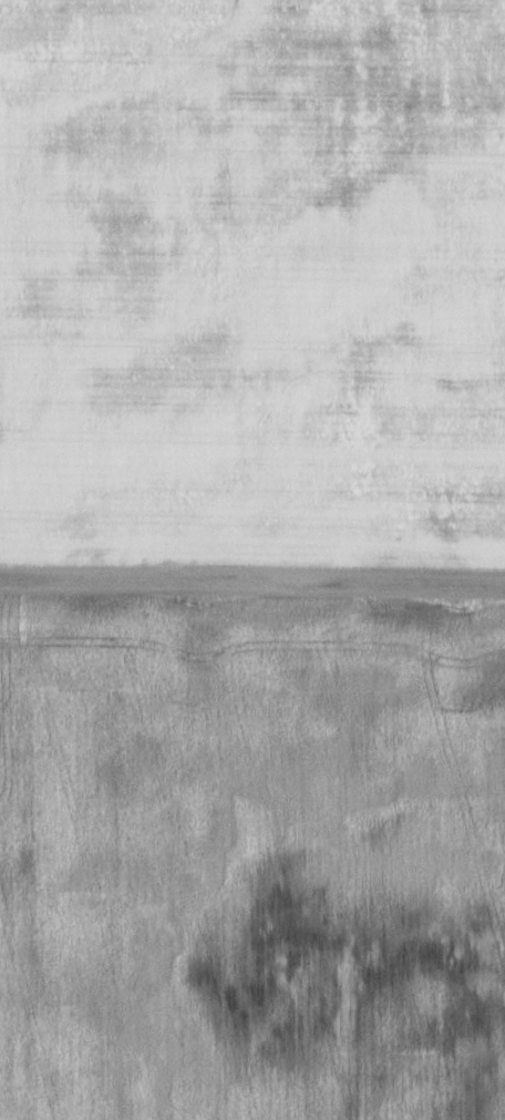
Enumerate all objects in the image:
road: (252, 589)

